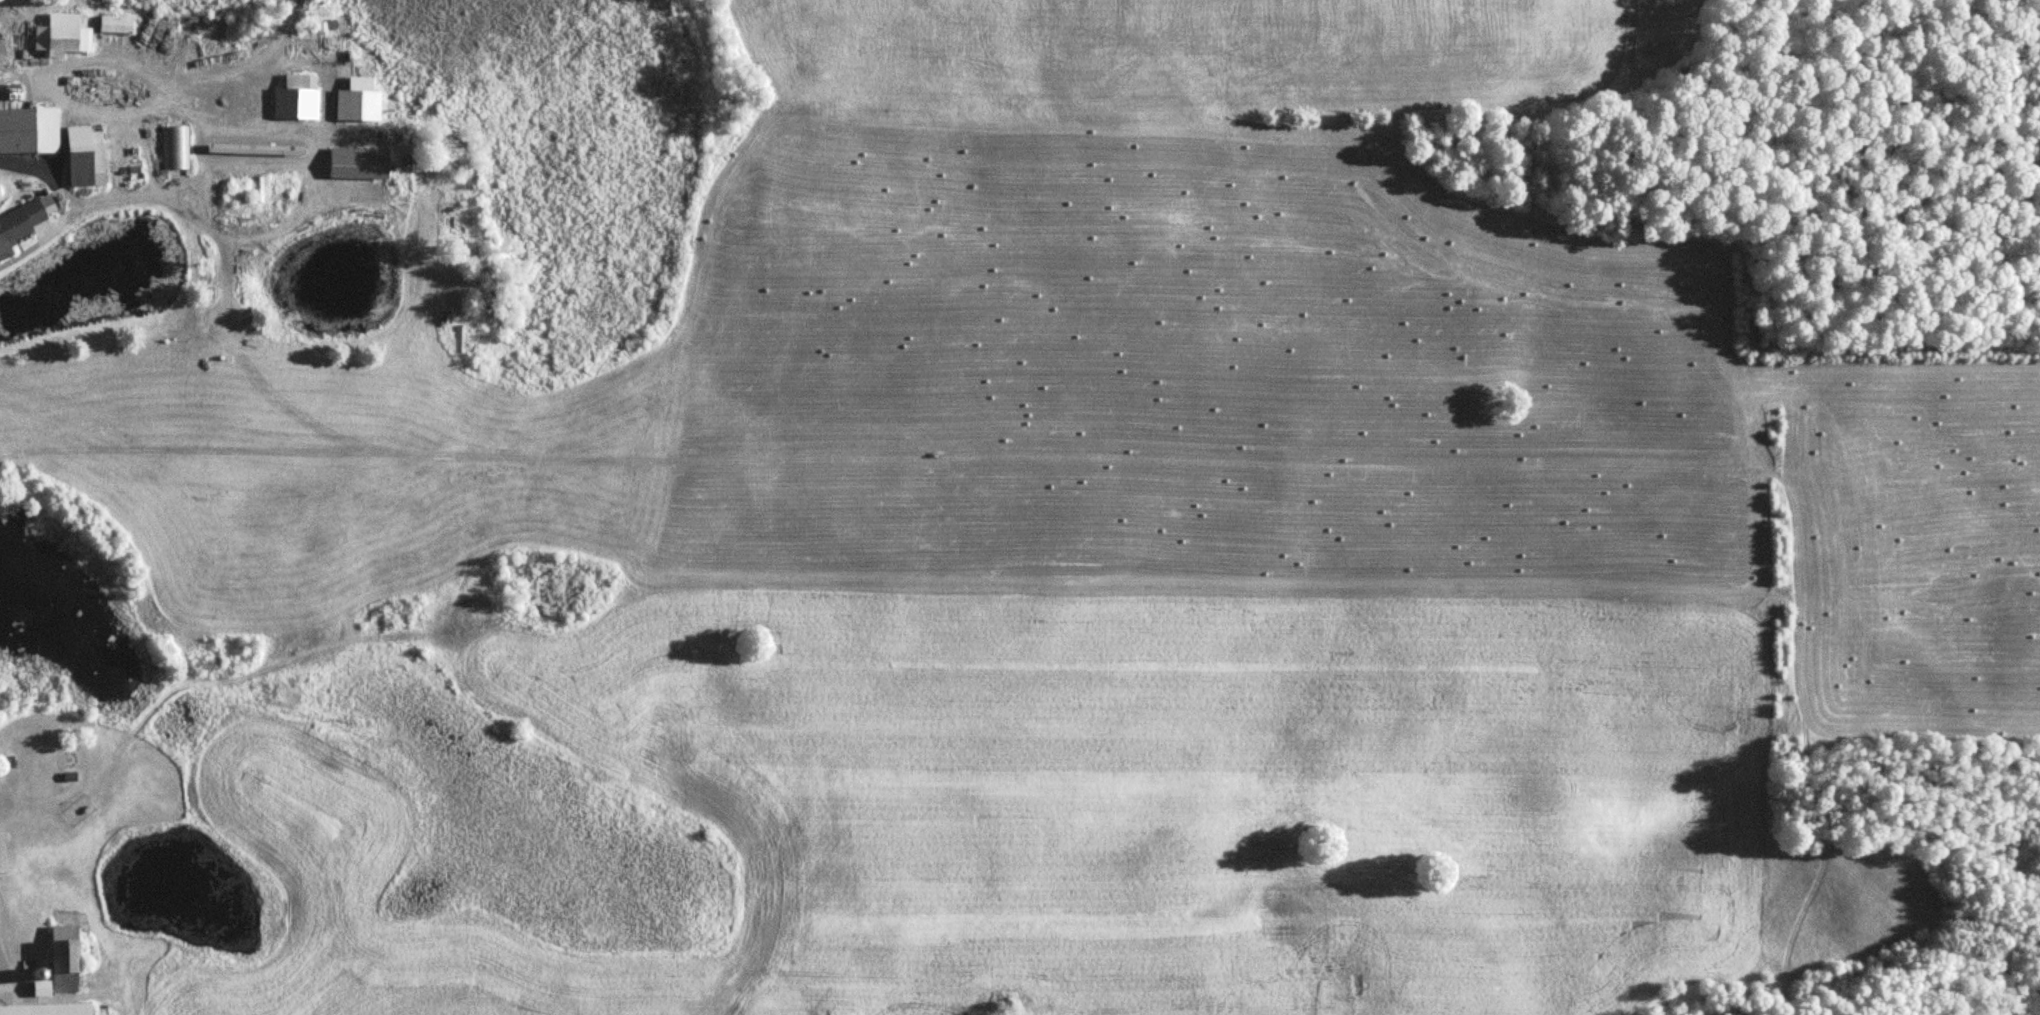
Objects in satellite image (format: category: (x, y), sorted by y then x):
building: (118, 24)
building: (65, 33)
building: (299, 96)
building: (361, 101)
building: (30, 129)
building: (81, 132)
building: (176, 147)
building: (89, 163)
building: (23, 222)
building: (67, 958)
building: (49, 1009)

